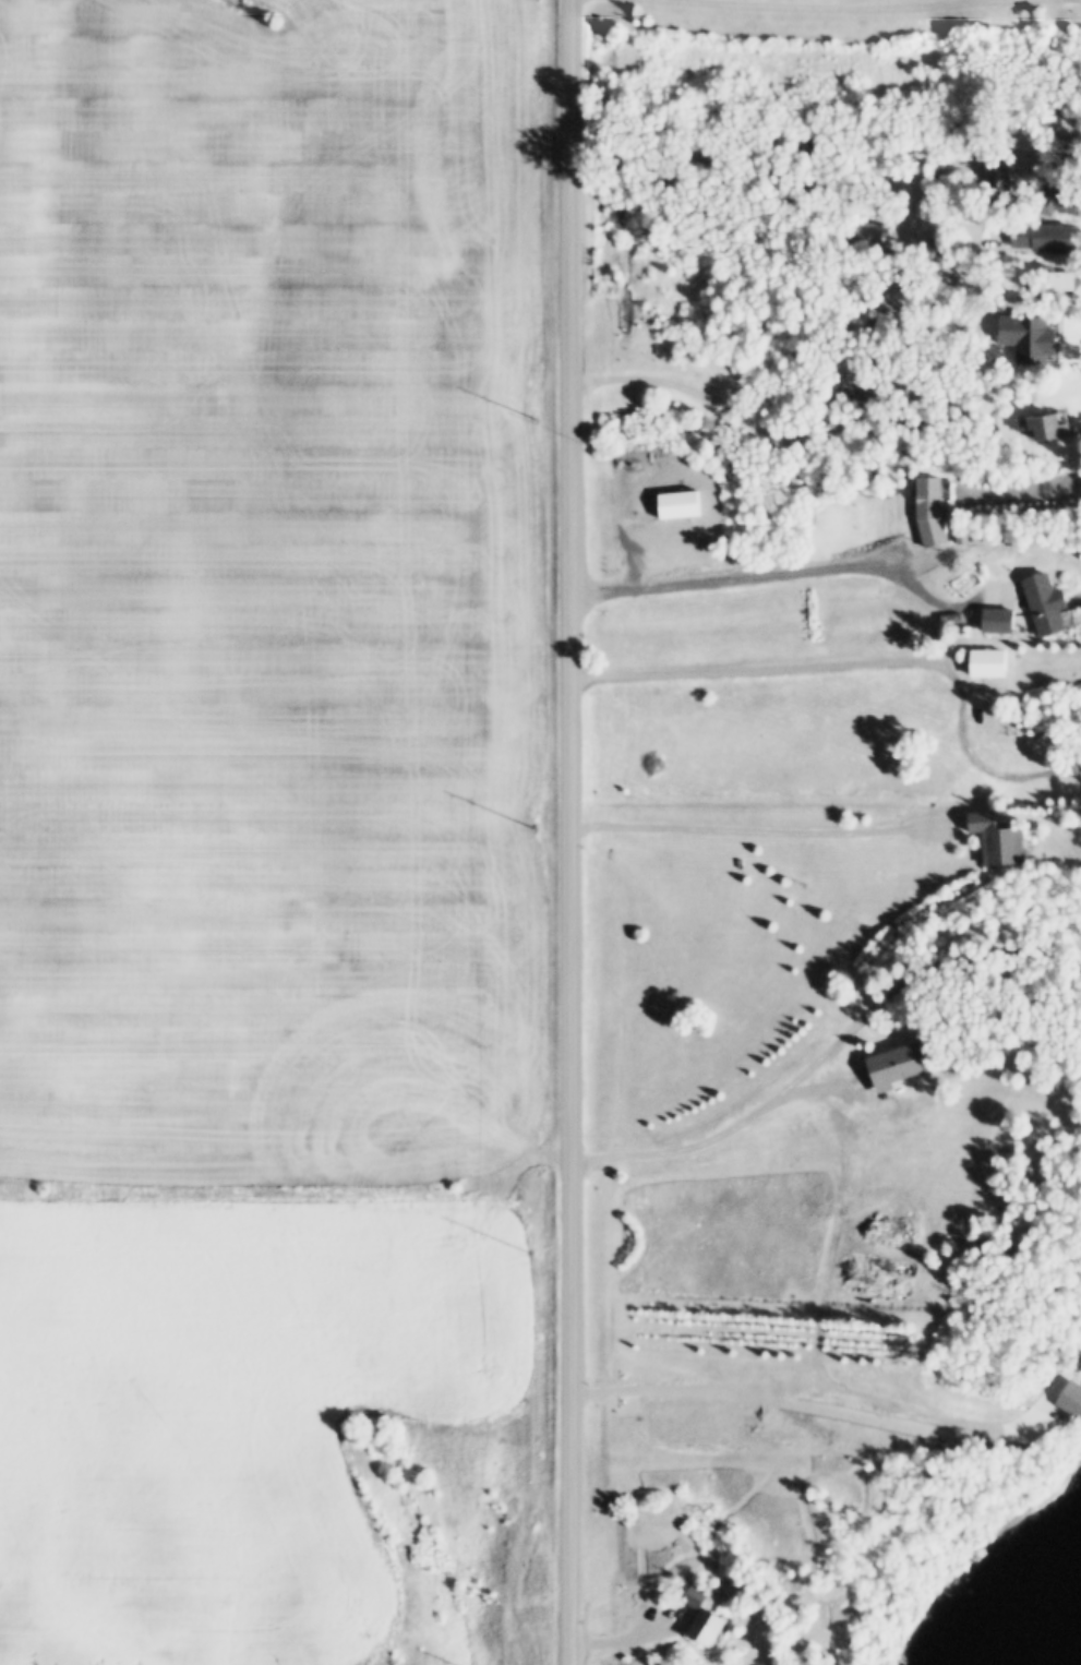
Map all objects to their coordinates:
road: (581, 1)
road: (856, 12)
building: (1079, 120)
road: (744, 155)
building: (992, 176)
building: (862, 231)
building: (1034, 232)
building: (846, 274)
building: (944, 274)
building: (1048, 277)
building: (879, 323)
building: (1020, 334)
building: (1060, 343)
road: (660, 386)
building: (1033, 423)
road: (800, 483)
building: (669, 503)
building: (922, 508)
building: (938, 510)
road: (796, 577)
building: (1032, 601)
building: (1049, 604)
building: (976, 660)
road: (866, 668)
building: (1064, 743)
road: (570, 831)
building: (985, 836)
building: (889, 1062)
road: (762, 1107)
building: (996, 1210)
road: (843, 1389)
building: (1065, 1398)
building: (685, 1593)
building: (695, 1625)
road: (627, 1633)

